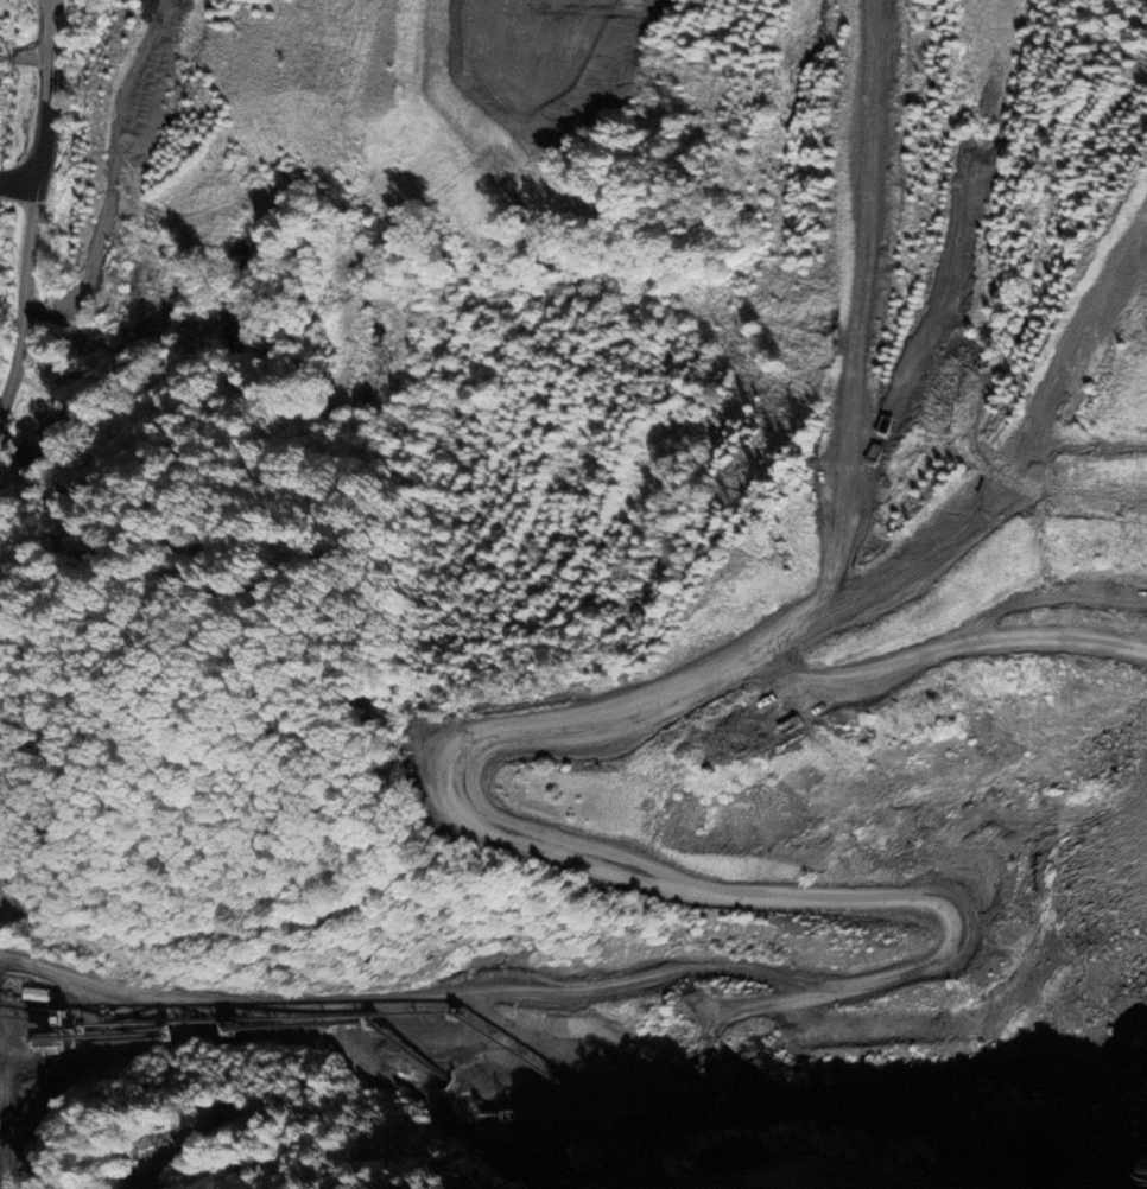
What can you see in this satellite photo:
quarry: (463, 56)
road: (33, 205)
road: (880, 306)
building: (31, 459)
quarry: (835, 871)
road: (164, 1089)

